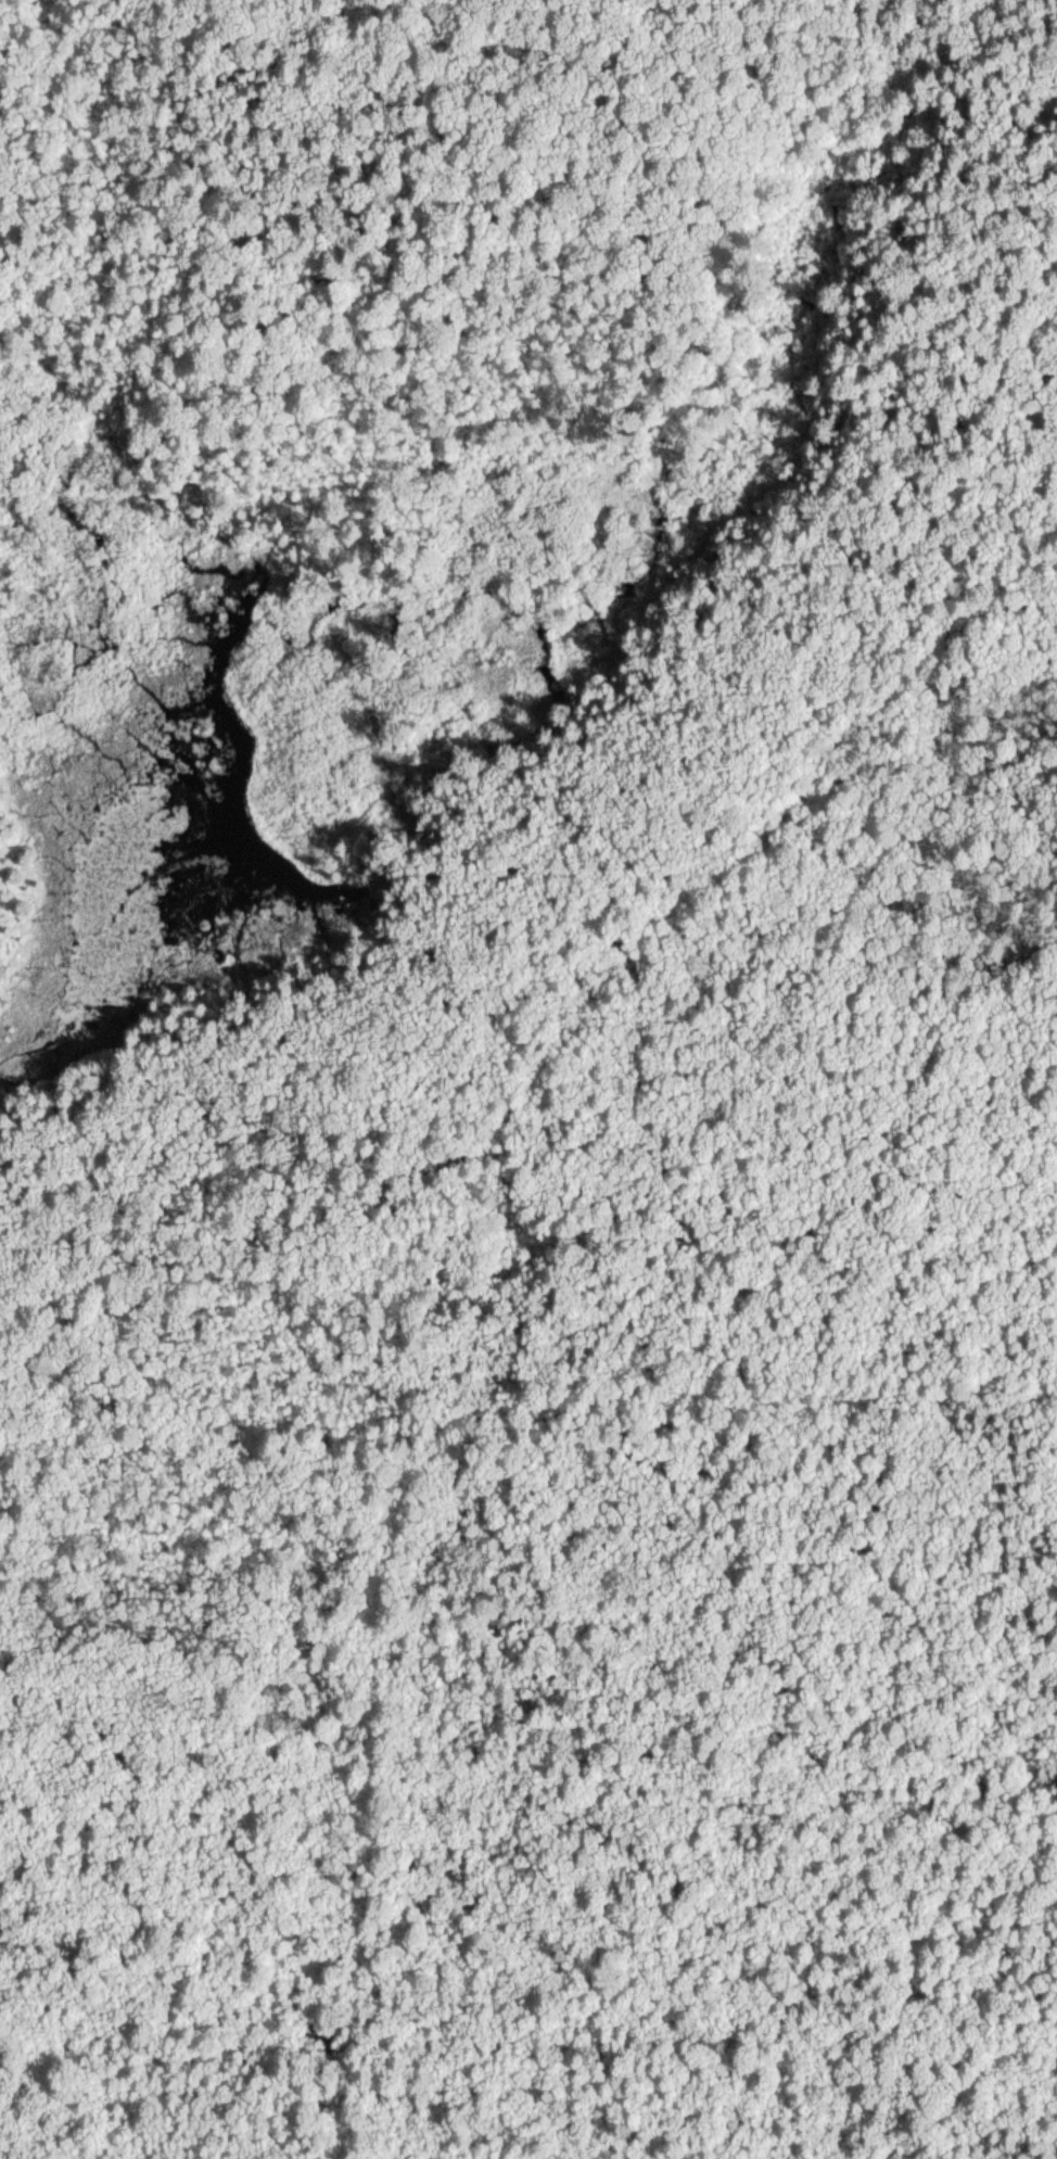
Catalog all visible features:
road: (386, 1654)

